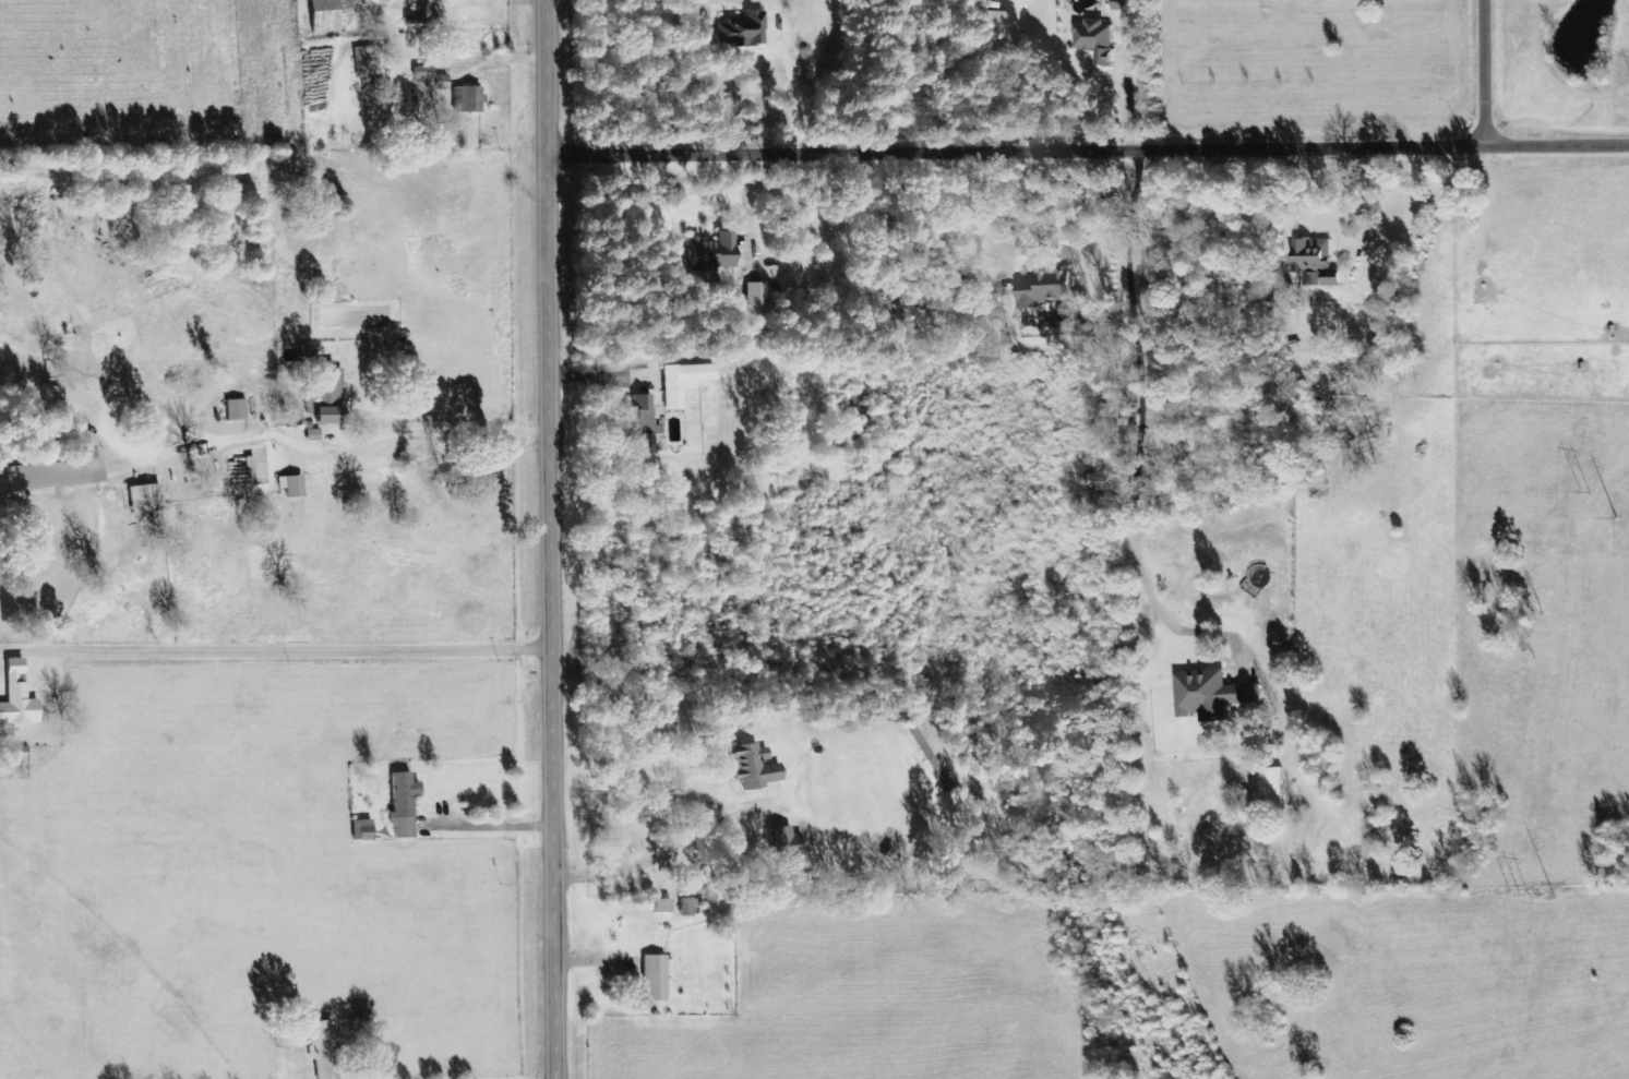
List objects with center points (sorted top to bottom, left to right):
building: (1119, 7)
building: (320, 15)
building: (992, 25)
building: (739, 31)
building: (1094, 40)
building: (420, 74)
road: (1494, 75)
building: (465, 99)
road: (1561, 149)
road: (1017, 155)
building: (708, 253)
building: (1314, 263)
building: (1042, 290)
building: (753, 295)
building: (301, 355)
building: (679, 383)
building: (325, 395)
building: (232, 410)
building: (638, 424)
building: (310, 435)
building: (245, 465)
building: (290, 487)
building: (141, 499)
road: (544, 539)
building: (14, 696)
building: (1209, 696)
building: (751, 767)
building: (1271, 788)
building: (400, 805)
building: (362, 830)
building: (783, 843)
building: (659, 907)
building: (687, 907)
building: (654, 976)
building: (319, 1033)

